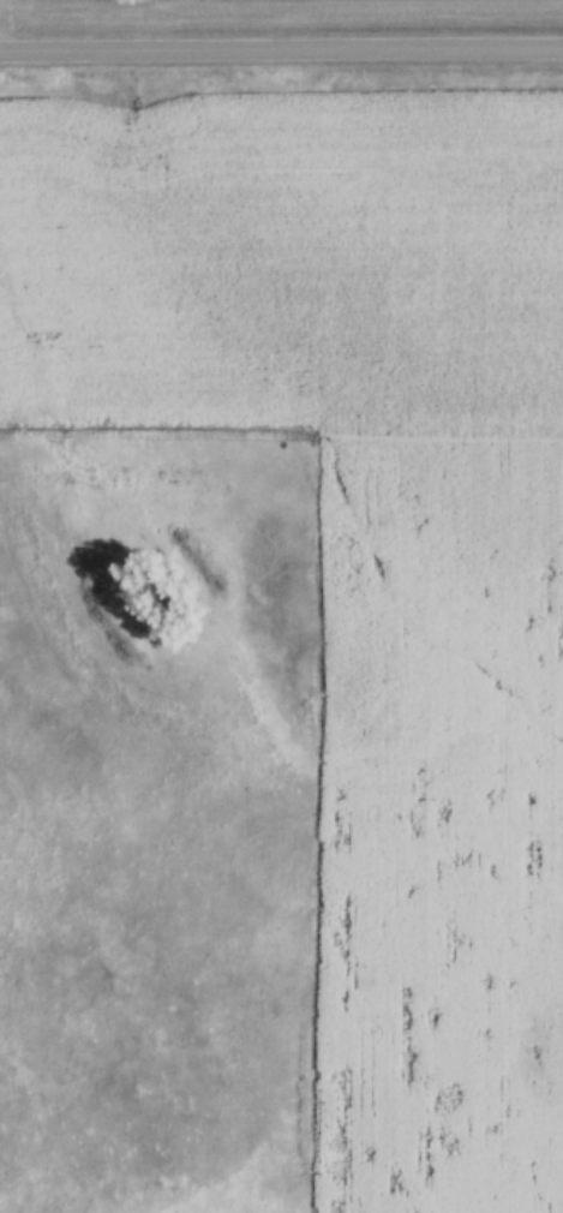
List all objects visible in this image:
road: (281, 48)
crop: (361, 540)

